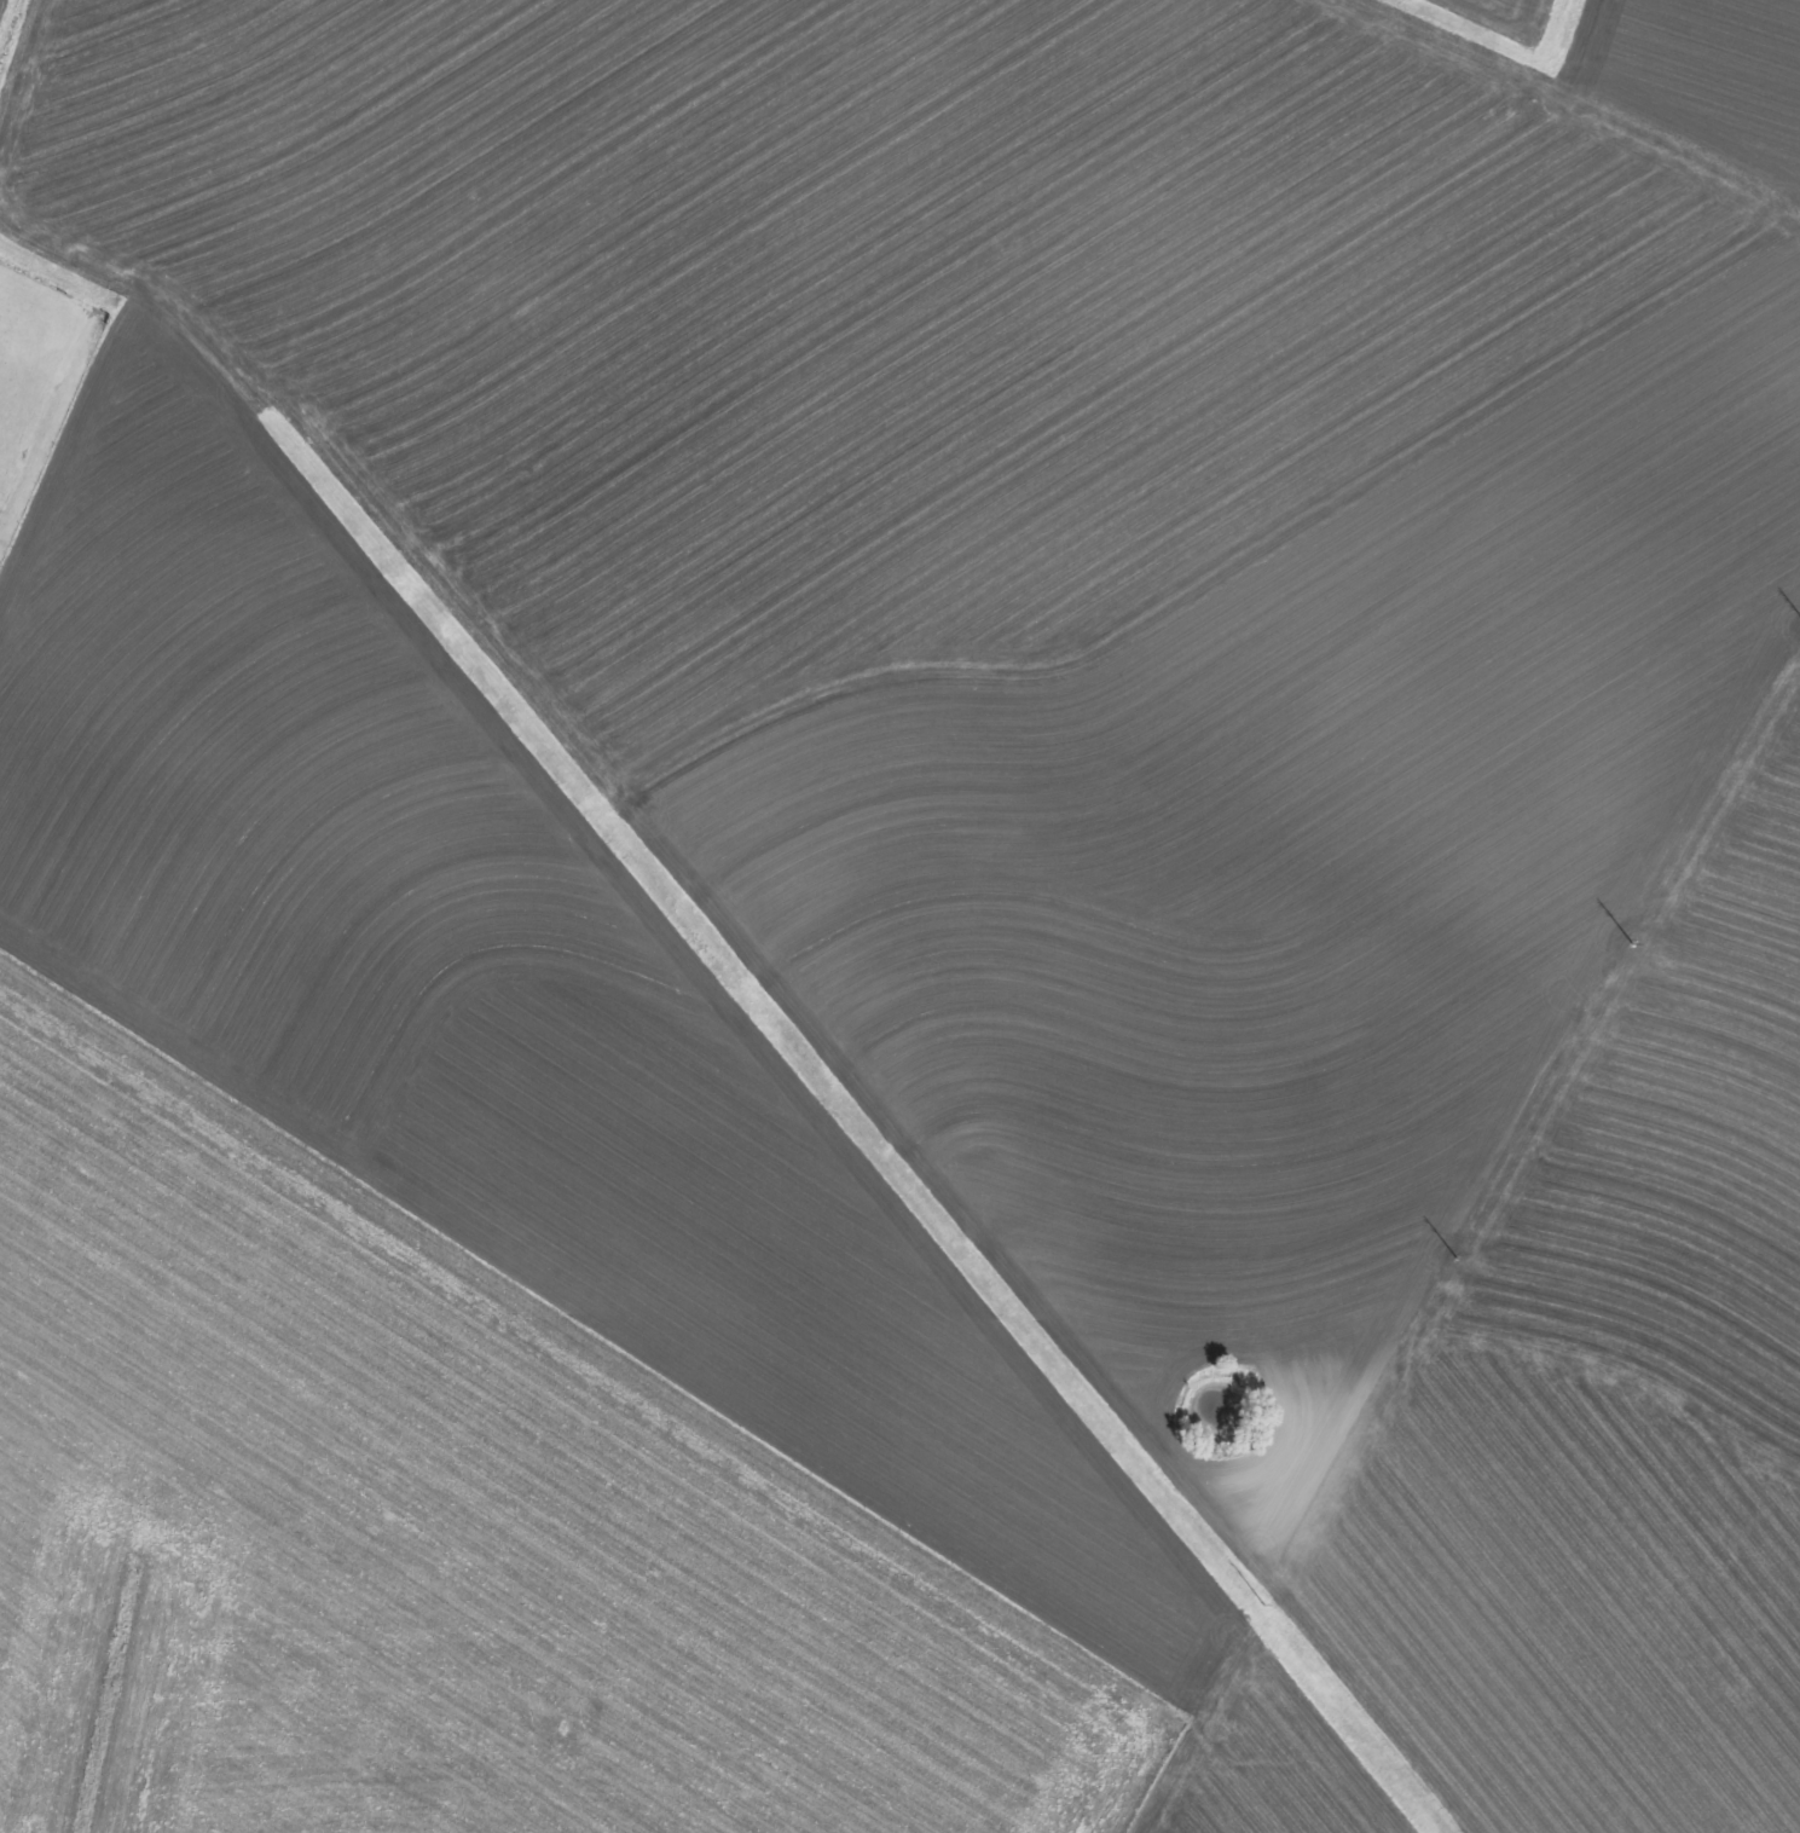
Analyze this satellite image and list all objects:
power tower: (1630, 946)
power tower: (1454, 1260)
power tower: (1261, 1606)

